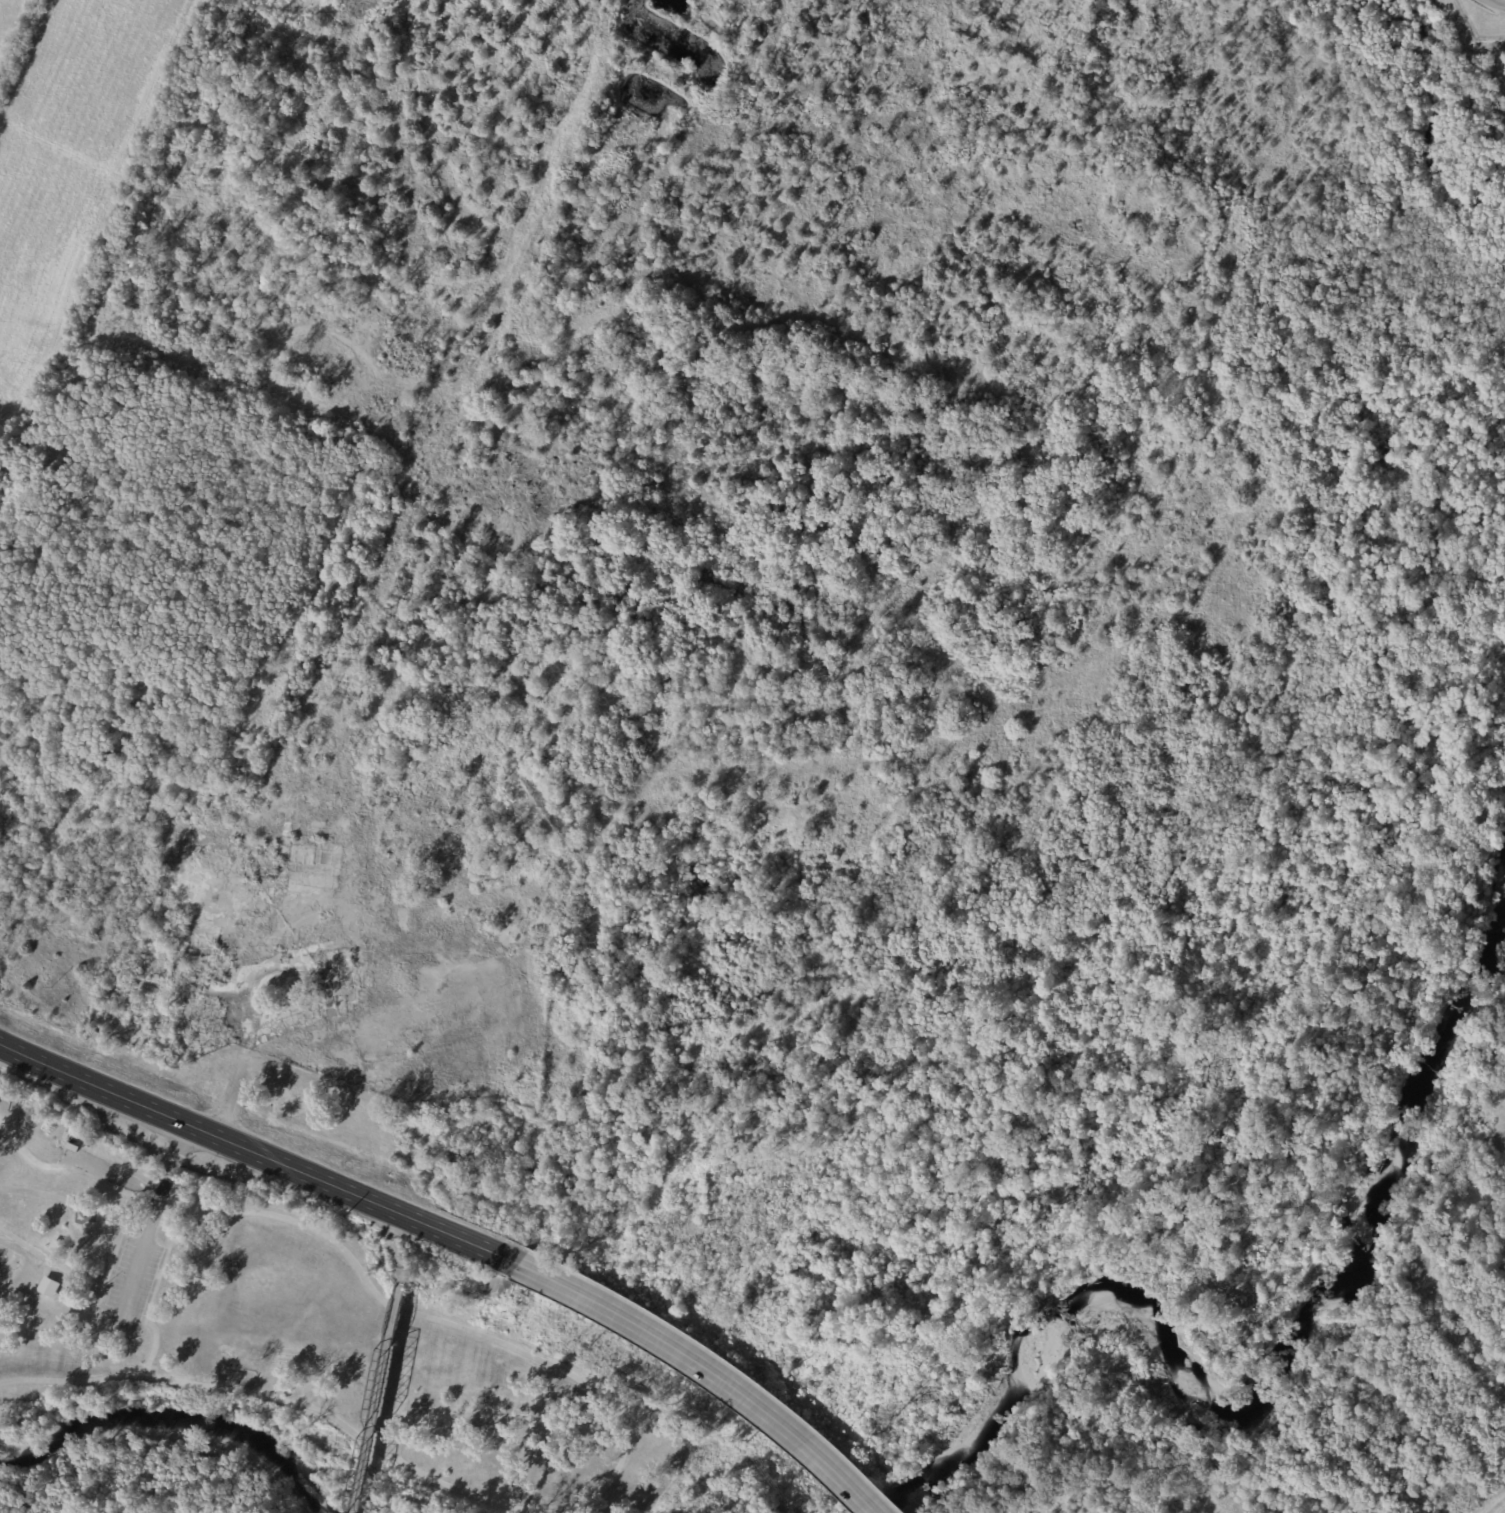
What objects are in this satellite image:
road: (1492, 2)
airport: (807, 679)
building: (302, 854)
building: (71, 1147)
road: (74, 1161)
road: (29, 1215)
road: (150, 1224)
road: (168, 1232)
road: (449, 1238)
road: (364, 1247)
road: (394, 1247)
building: (59, 1250)
road: (50, 1262)
park: (8, 1264)
parking lot: (129, 1283)
building: (48, 1288)
road: (372, 1292)
road: (400, 1293)
road: (151, 1294)
park: (336, 1339)
river: (1267, 1358)
road: (291, 1402)
road: (378, 1407)
river: (169, 1419)
road: (869, 1504)

